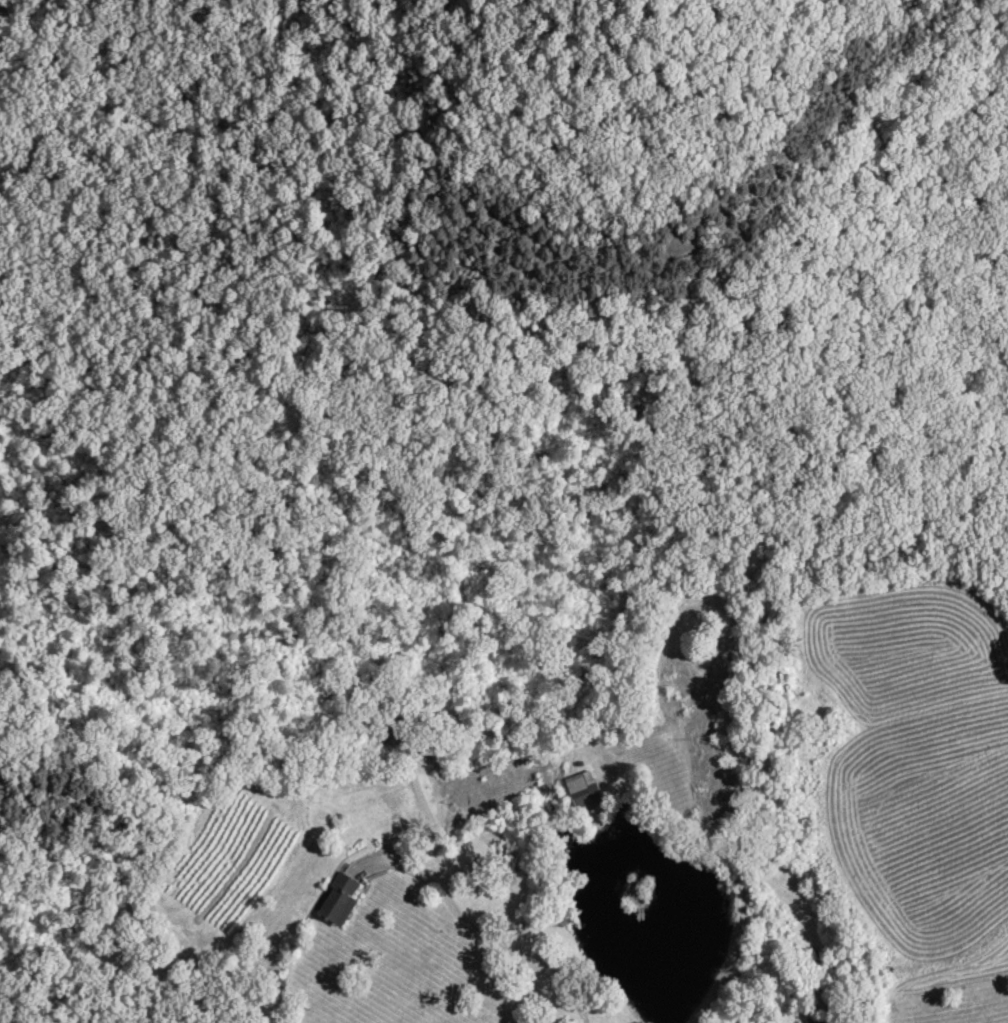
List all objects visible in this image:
building: (579, 792)
road: (423, 803)
building: (336, 902)

